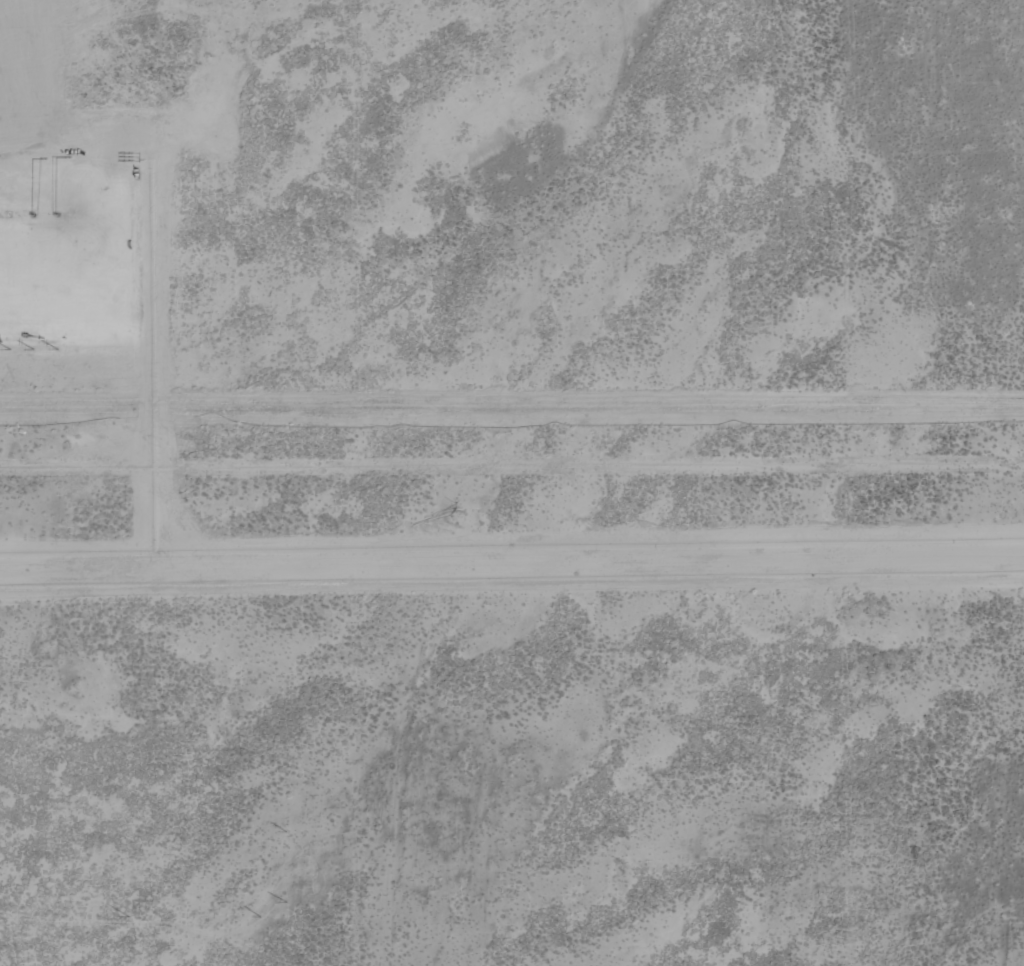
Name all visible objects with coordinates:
road: (659, 52)

